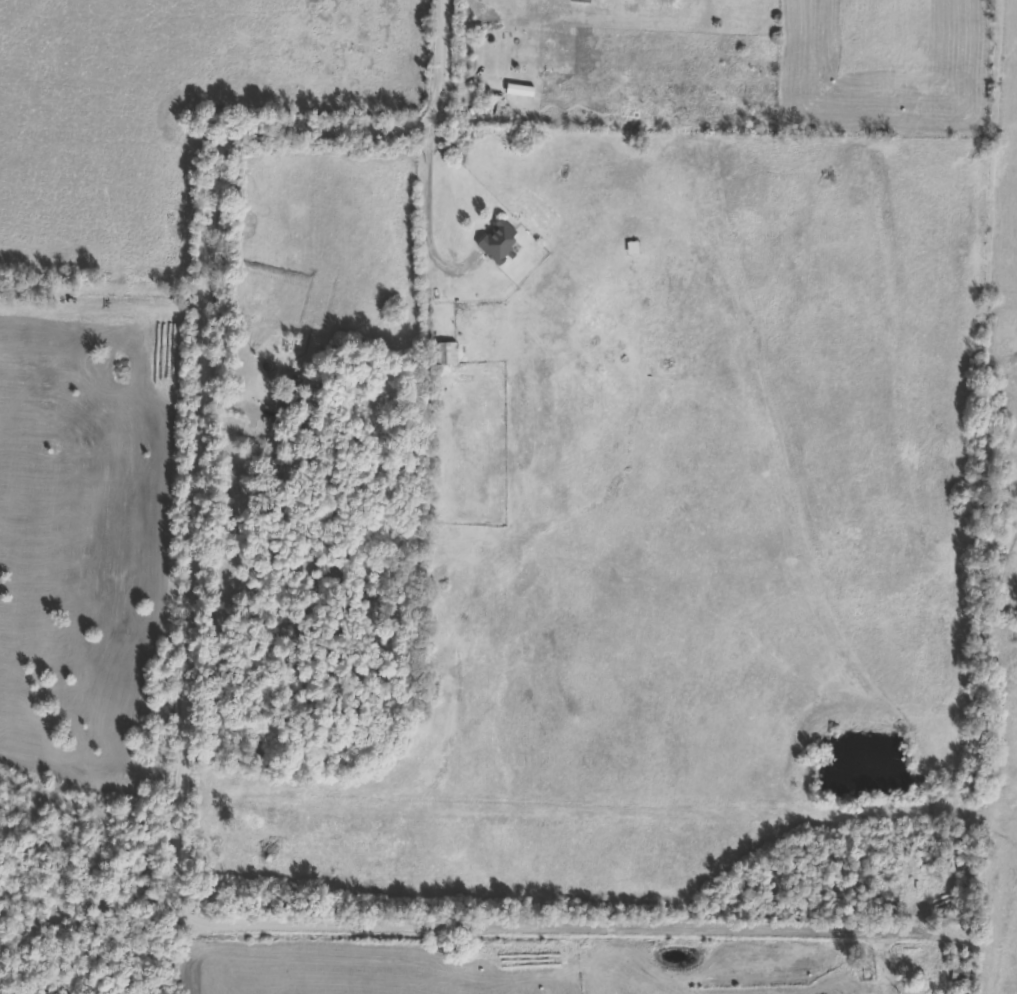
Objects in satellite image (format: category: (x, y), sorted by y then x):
building: (582, 3)
road: (429, 216)
building: (500, 243)
building: (635, 251)
building: (445, 356)
road: (182, 790)
building: (961, 976)

